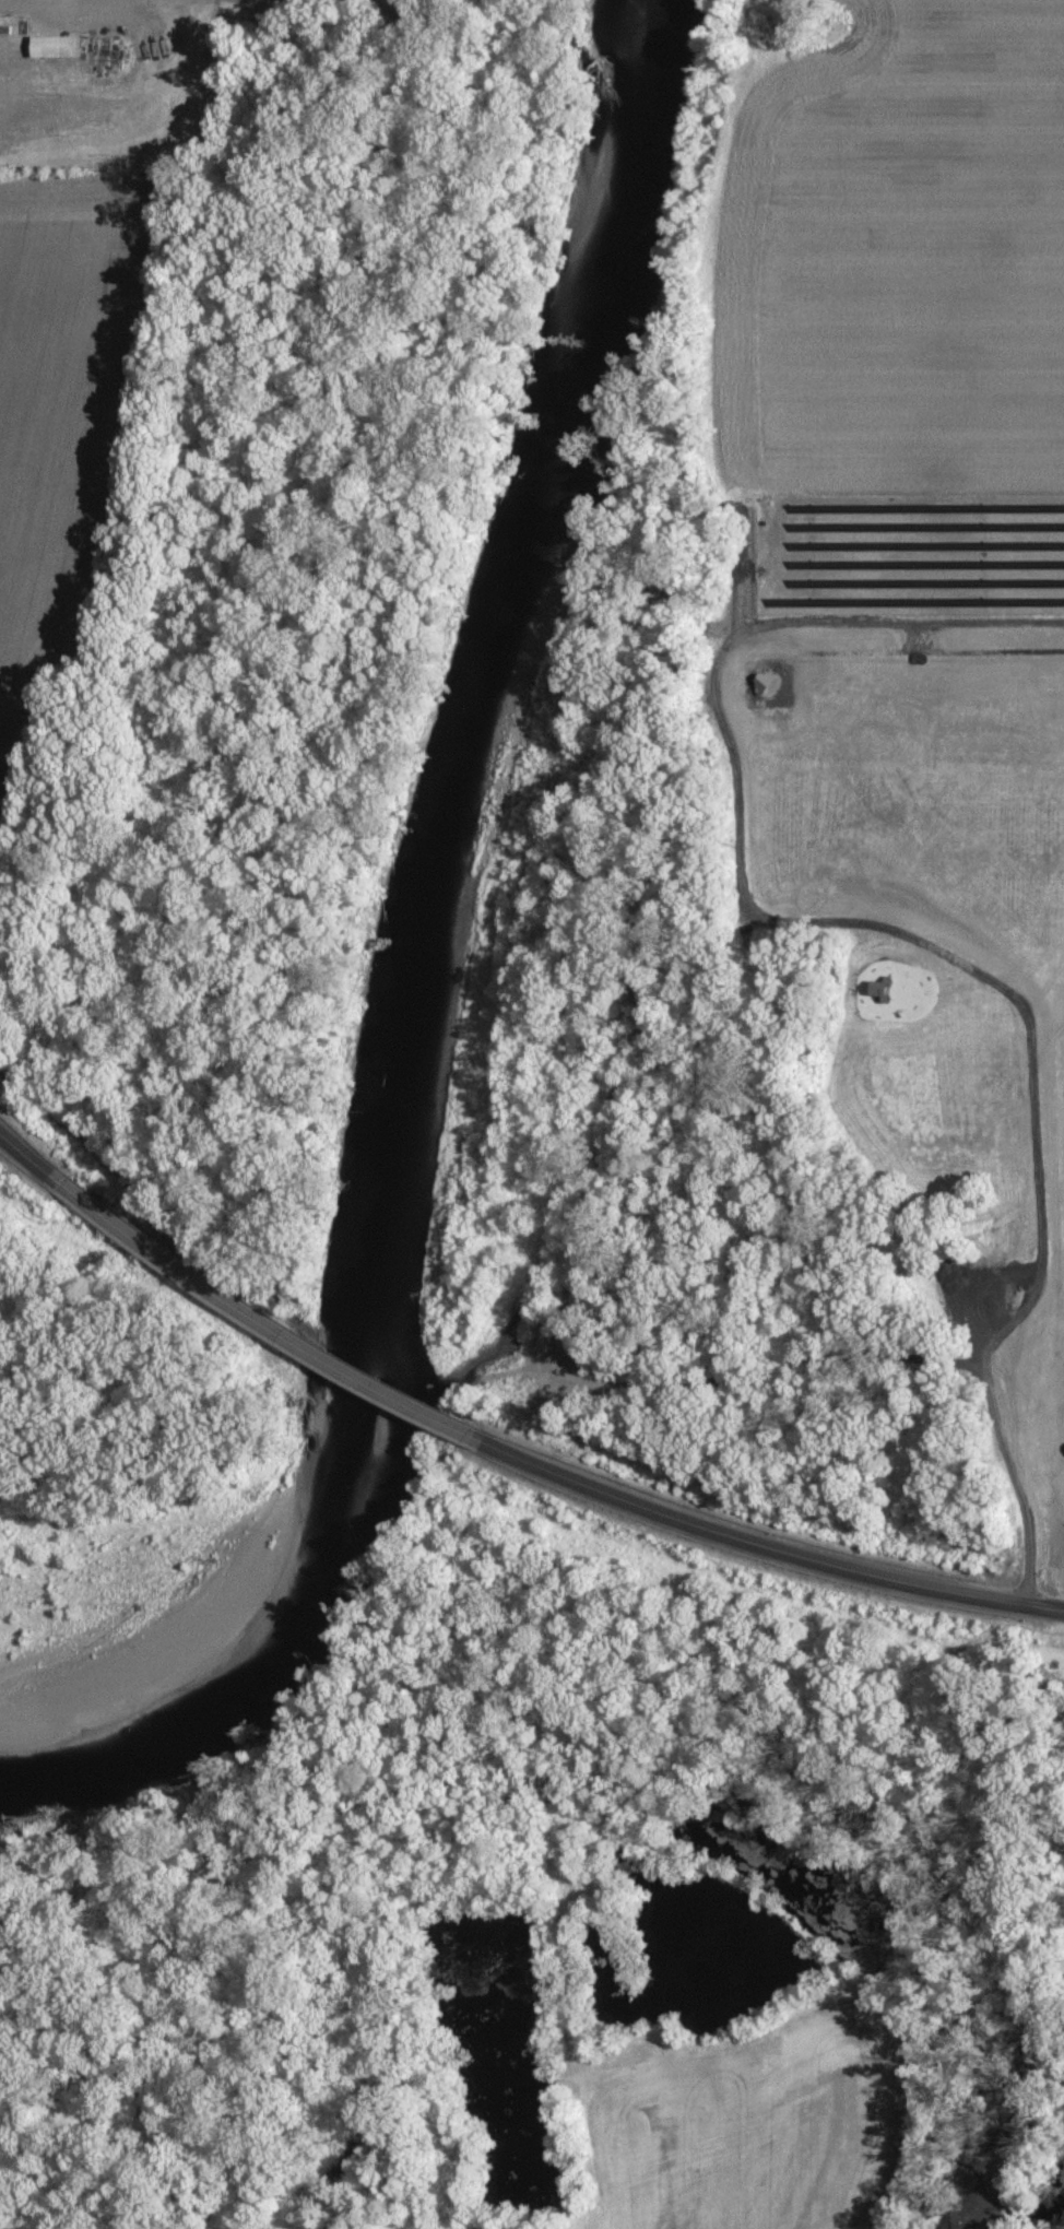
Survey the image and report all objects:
road: (16, 1)
building: (56, 48)
power substation: (99, 82)
river: (461, 948)
road: (32, 1157)
road: (265, 1322)
road: (765, 1544)

